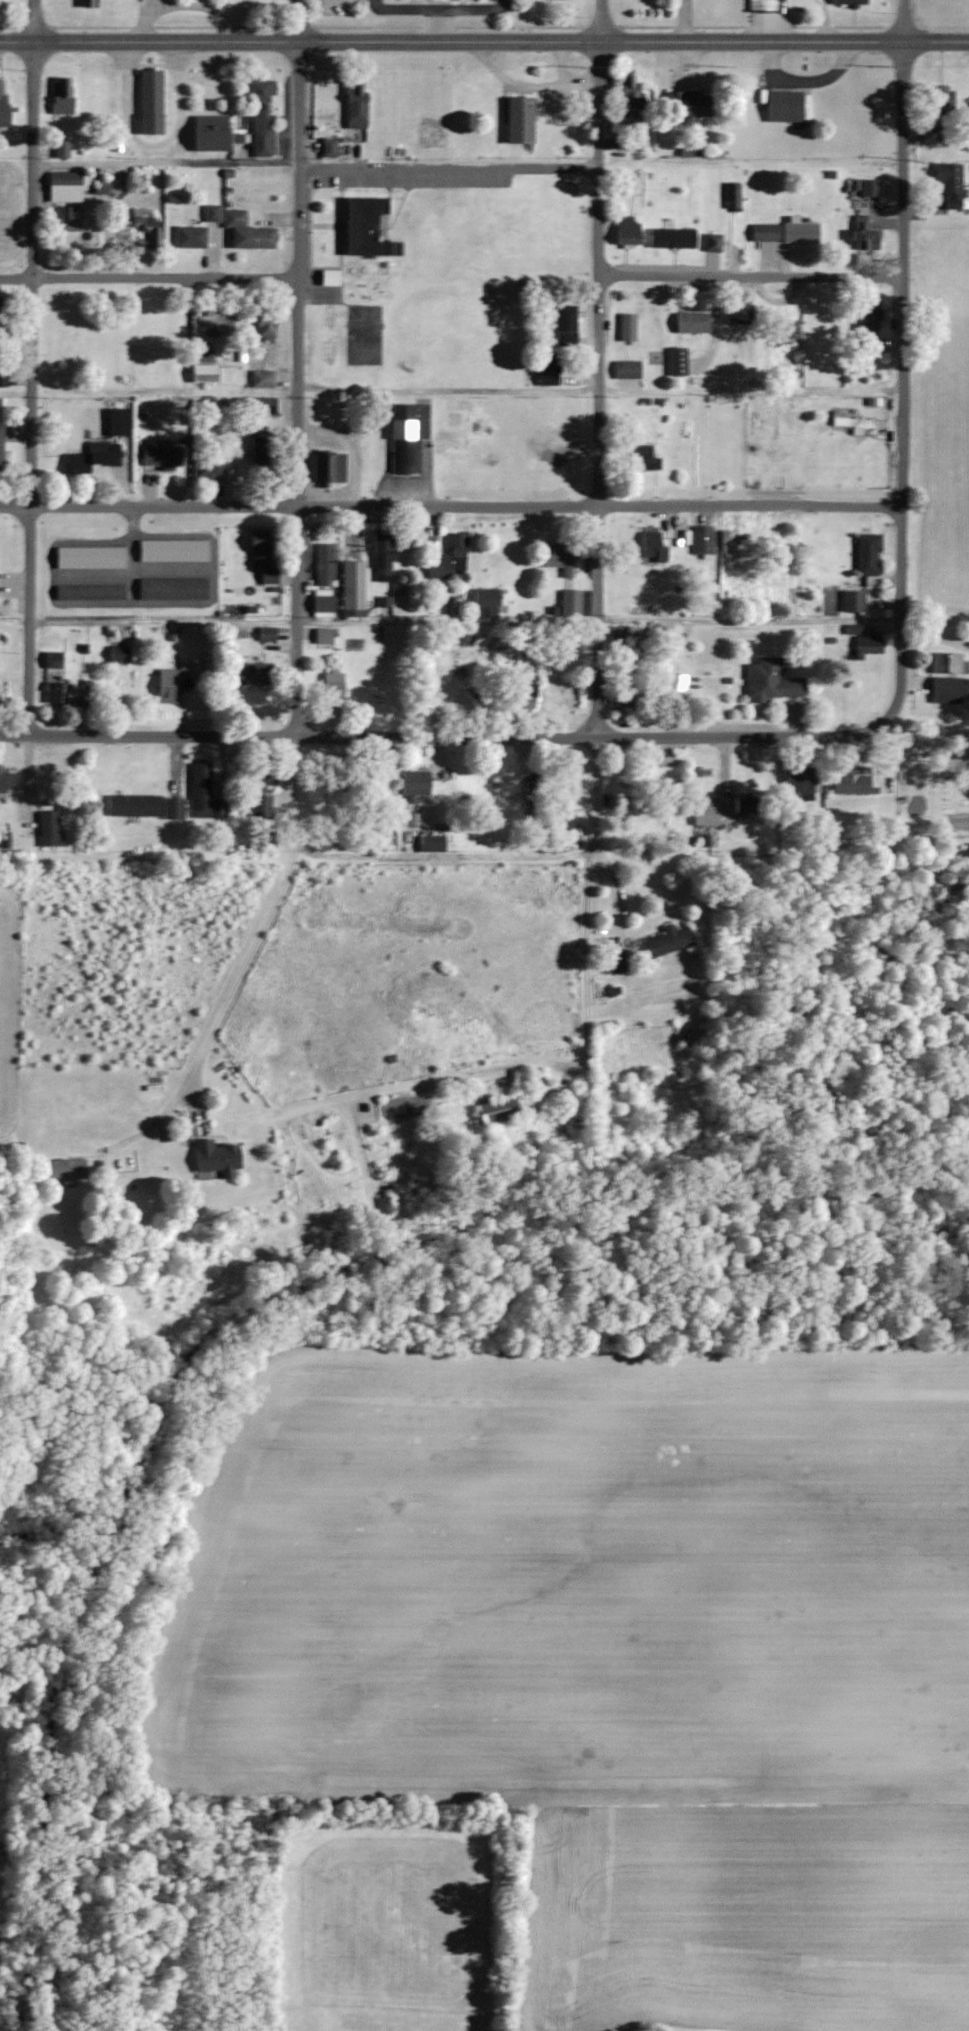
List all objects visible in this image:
building: (847, 2)
building: (90, 3)
road: (375, 4)
road: (500, 4)
building: (760, 5)
road: (439, 7)
road: (438, 24)
road: (484, 40)
building: (627, 92)
building: (64, 96)
building: (938, 100)
building: (154, 103)
building: (358, 105)
building: (687, 105)
building: (780, 106)
building: (5, 107)
building: (263, 117)
building: (515, 121)
building: (213, 133)
building: (331, 148)
road: (166, 165)
road: (448, 168)
building: (67, 180)
building: (947, 184)
building: (730, 195)
building: (147, 224)
building: (369, 226)
building: (624, 229)
building: (250, 232)
building: (797, 232)
building: (858, 232)
building: (761, 233)
building: (192, 236)
building: (669, 237)
building: (710, 242)
road: (149, 275)
road: (752, 275)
building: (333, 278)
building: (737, 314)
building: (4, 316)
building: (689, 322)
building: (211, 323)
building: (264, 323)
building: (562, 325)
building: (625, 326)
building: (864, 326)
building: (780, 331)
building: (676, 361)
road: (31, 367)
road: (298, 368)
building: (544, 369)
road: (597, 369)
building: (624, 369)
building: (210, 373)
building: (4, 374)
building: (260, 378)
road: (905, 379)
road: (448, 382)
building: (264, 405)
building: (848, 423)
building: (405, 435)
building: (2, 446)
building: (567, 446)
building: (258, 450)
building: (161, 455)
building: (96, 457)
building: (642, 457)
building: (326, 466)
building: (206, 469)
road: (451, 506)
building: (700, 539)
building: (650, 546)
building: (258, 547)
building: (173, 551)
building: (380, 553)
building: (864, 553)
building: (558, 556)
building: (92, 557)
building: (448, 558)
building: (323, 564)
building: (767, 580)
building: (351, 585)
building: (173, 588)
building: (92, 592)
building: (851, 599)
building: (484, 600)
building: (568, 602)
building: (321, 603)
road: (107, 623)
road: (749, 623)
building: (265, 633)
building: (323, 634)
building: (863, 643)
building: (55, 659)
building: (251, 673)
building: (948, 676)
building: (769, 680)
building: (171, 681)
building: (331, 685)
building: (673, 689)
building: (623, 691)
building: (57, 692)
building: (520, 692)
building: (88, 695)
building: (4, 699)
road: (426, 737)
building: (8, 781)
building: (796, 781)
building: (413, 782)
building: (848, 783)
building: (257, 785)
building: (373, 785)
building: (198, 788)
building: (133, 804)
building: (746, 804)
building: (171, 808)
building: (702, 812)
building: (637, 820)
building: (51, 828)
road: (613, 888)
road: (584, 926)
building: (666, 939)
road: (247, 959)
building: (613, 962)
building: (692, 1036)
building: (493, 1110)
building: (220, 1158)
building: (65, 1169)

